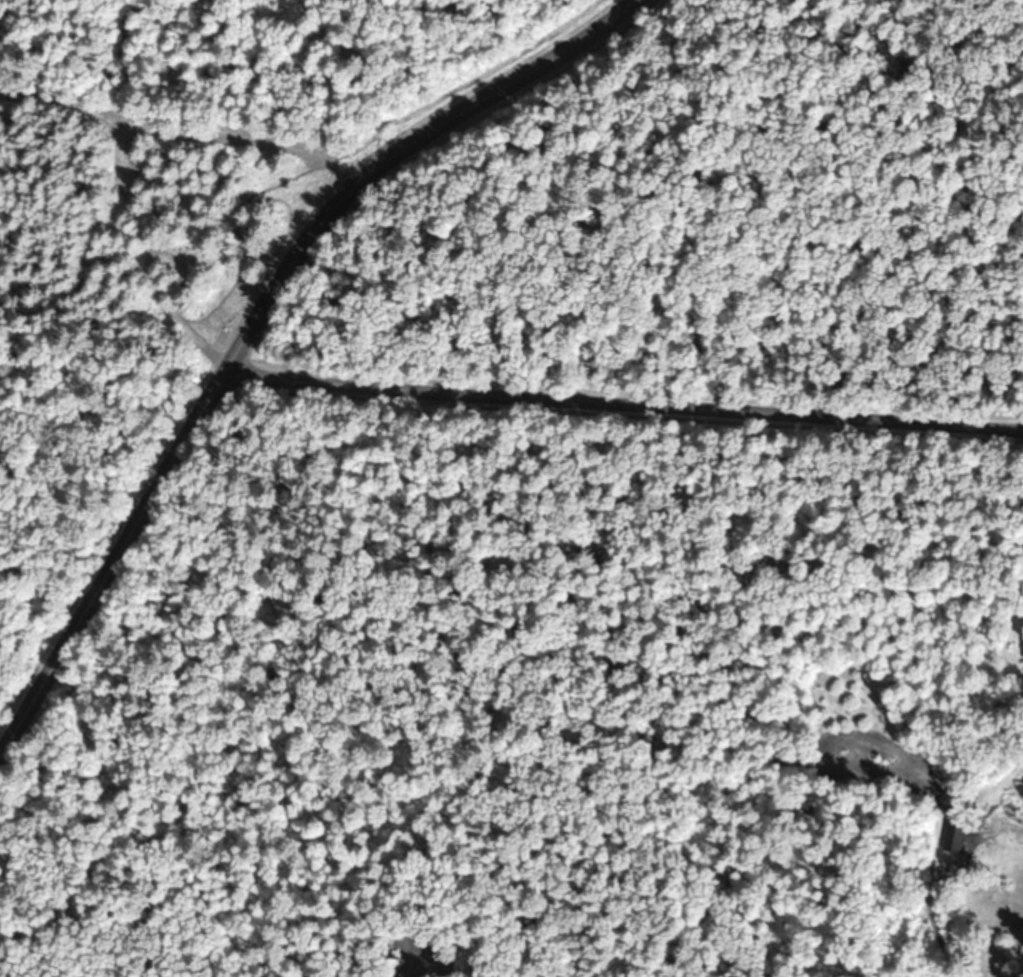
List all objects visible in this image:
road: (251, 325)
road: (625, 400)
building: (956, 838)

